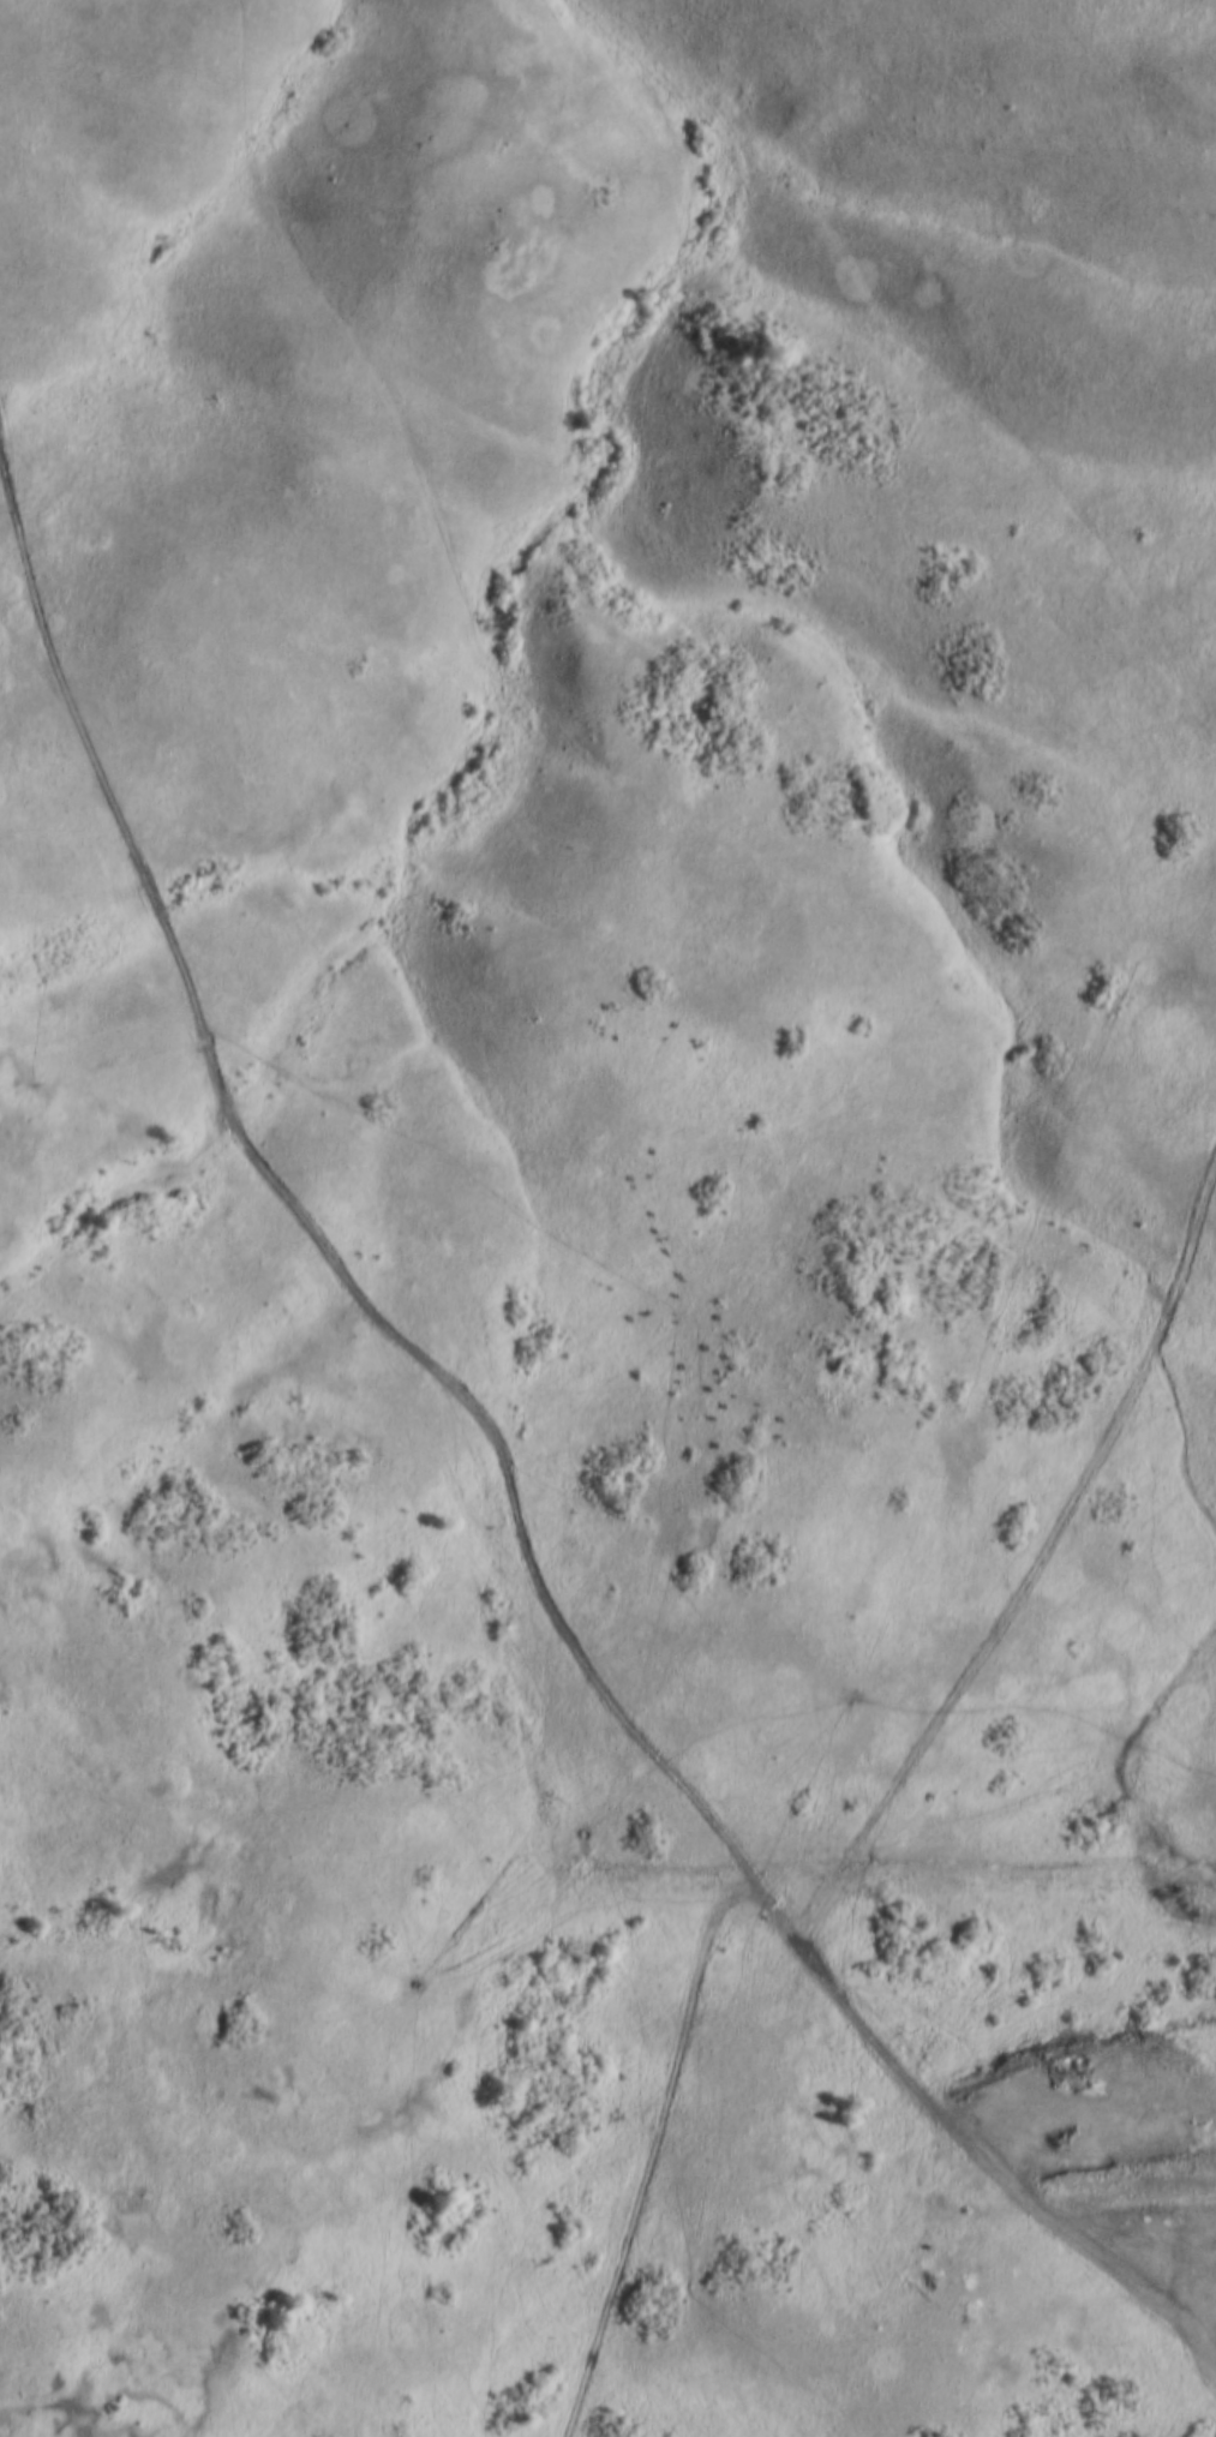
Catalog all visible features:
building: (874, 1899)

